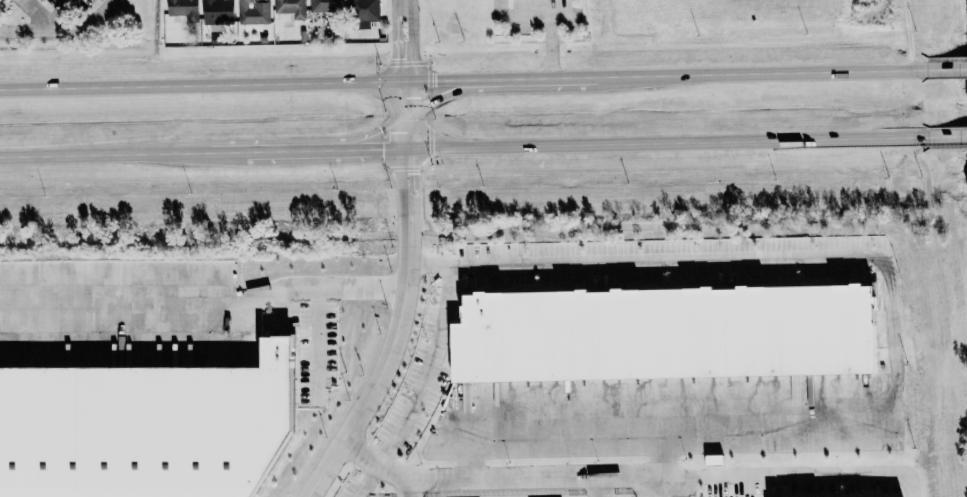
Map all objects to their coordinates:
road: (400, 1)
building: (325, 6)
building: (184, 9)
building: (291, 10)
road: (57, 12)
building: (218, 12)
building: (364, 13)
road: (37, 15)
building: (254, 15)
road: (561, 17)
road: (547, 18)
road: (60, 30)
road: (908, 35)
road: (402, 43)
traffic signals: (403, 58)
road: (946, 69)
road: (767, 74)
road: (555, 79)
traffic signals: (435, 82)
road: (251, 86)
road: (449, 93)
traffic signals: (438, 97)
road: (404, 116)
traffic signals: (380, 130)
road: (947, 138)
road: (353, 139)
road: (666, 143)
road: (946, 148)
road: (351, 150)
traffic signals: (382, 150)
road: (253, 153)
road: (104, 156)
road: (916, 160)
traffic signals: (405, 173)
road: (405, 185)
road: (926, 192)
road: (471, 237)
road: (202, 295)
building: (665, 333)
road: (887, 339)
road: (316, 345)
road: (382, 367)
road: (427, 368)
building: (144, 428)
road: (659, 446)
road: (628, 475)
road: (361, 479)
road: (405, 485)
road: (598, 486)
road: (664, 486)

